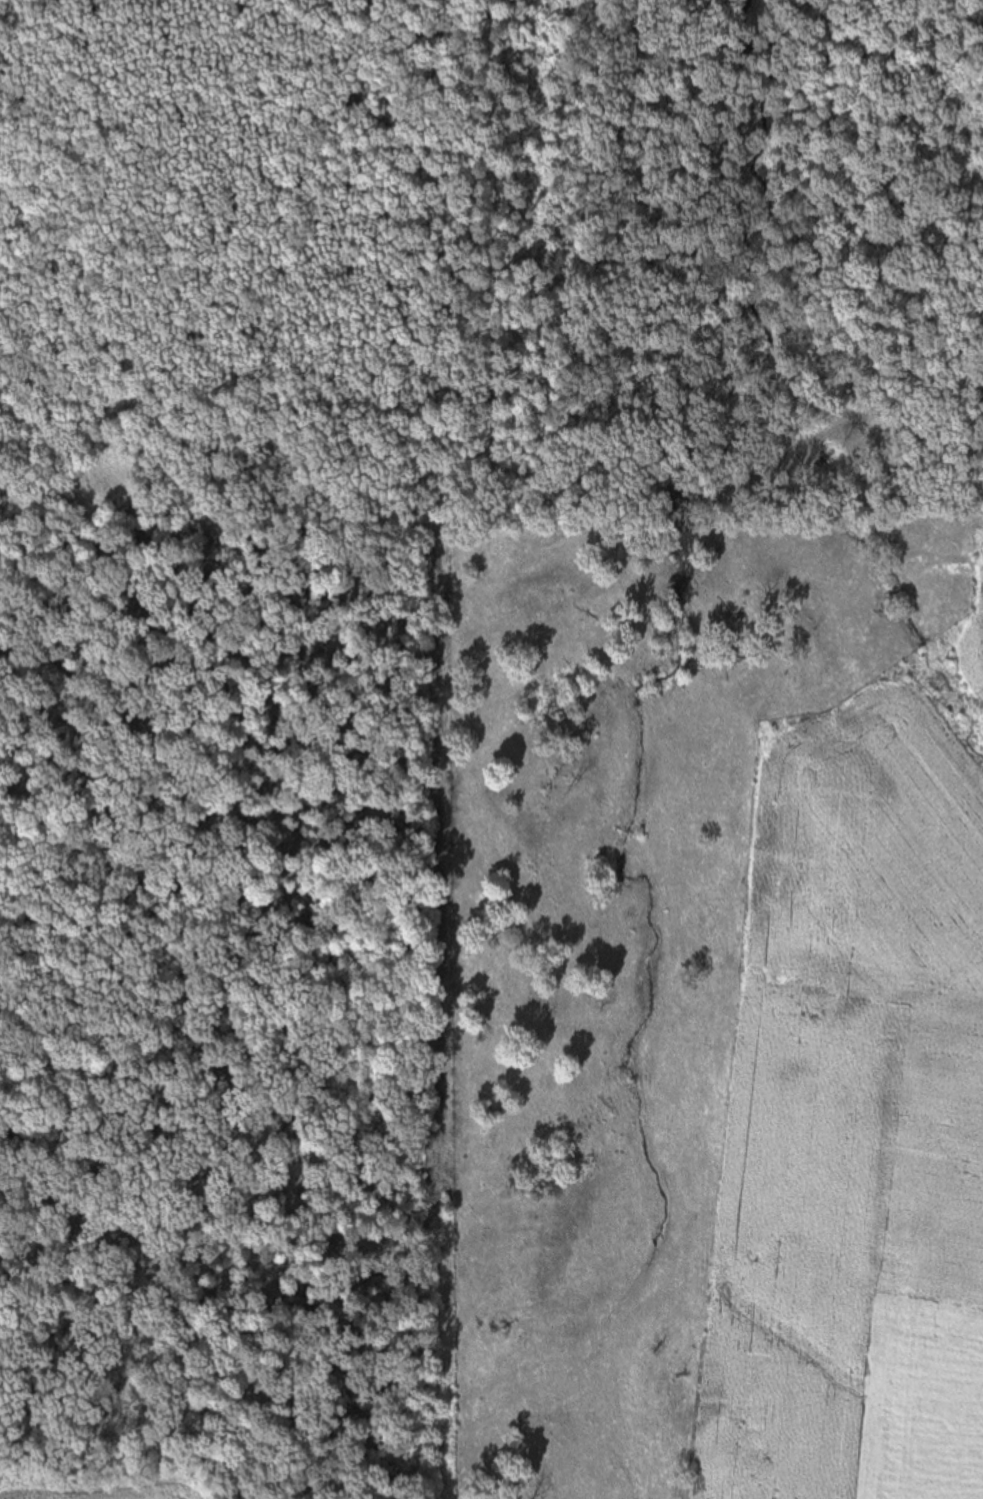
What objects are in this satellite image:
road: (219, 290)
building: (117, 503)
road: (216, 529)

